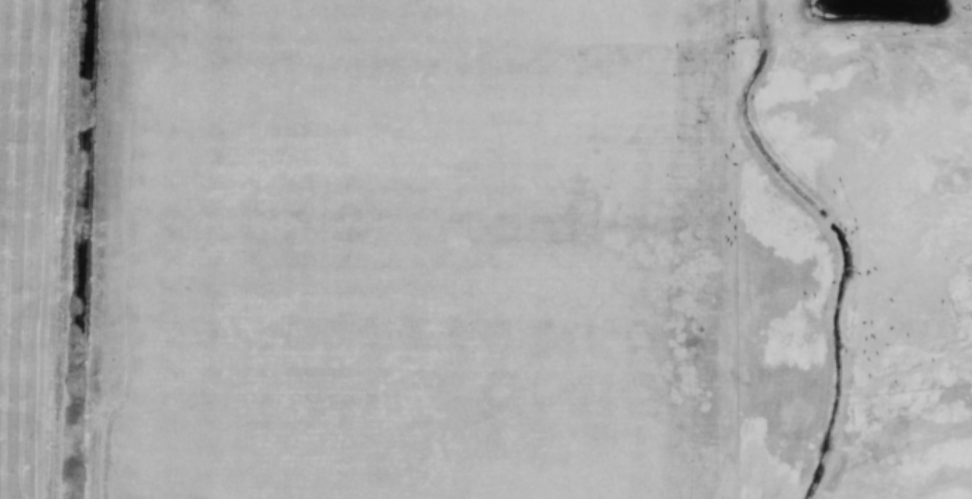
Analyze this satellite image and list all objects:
wastewater plant: (79, 177)

